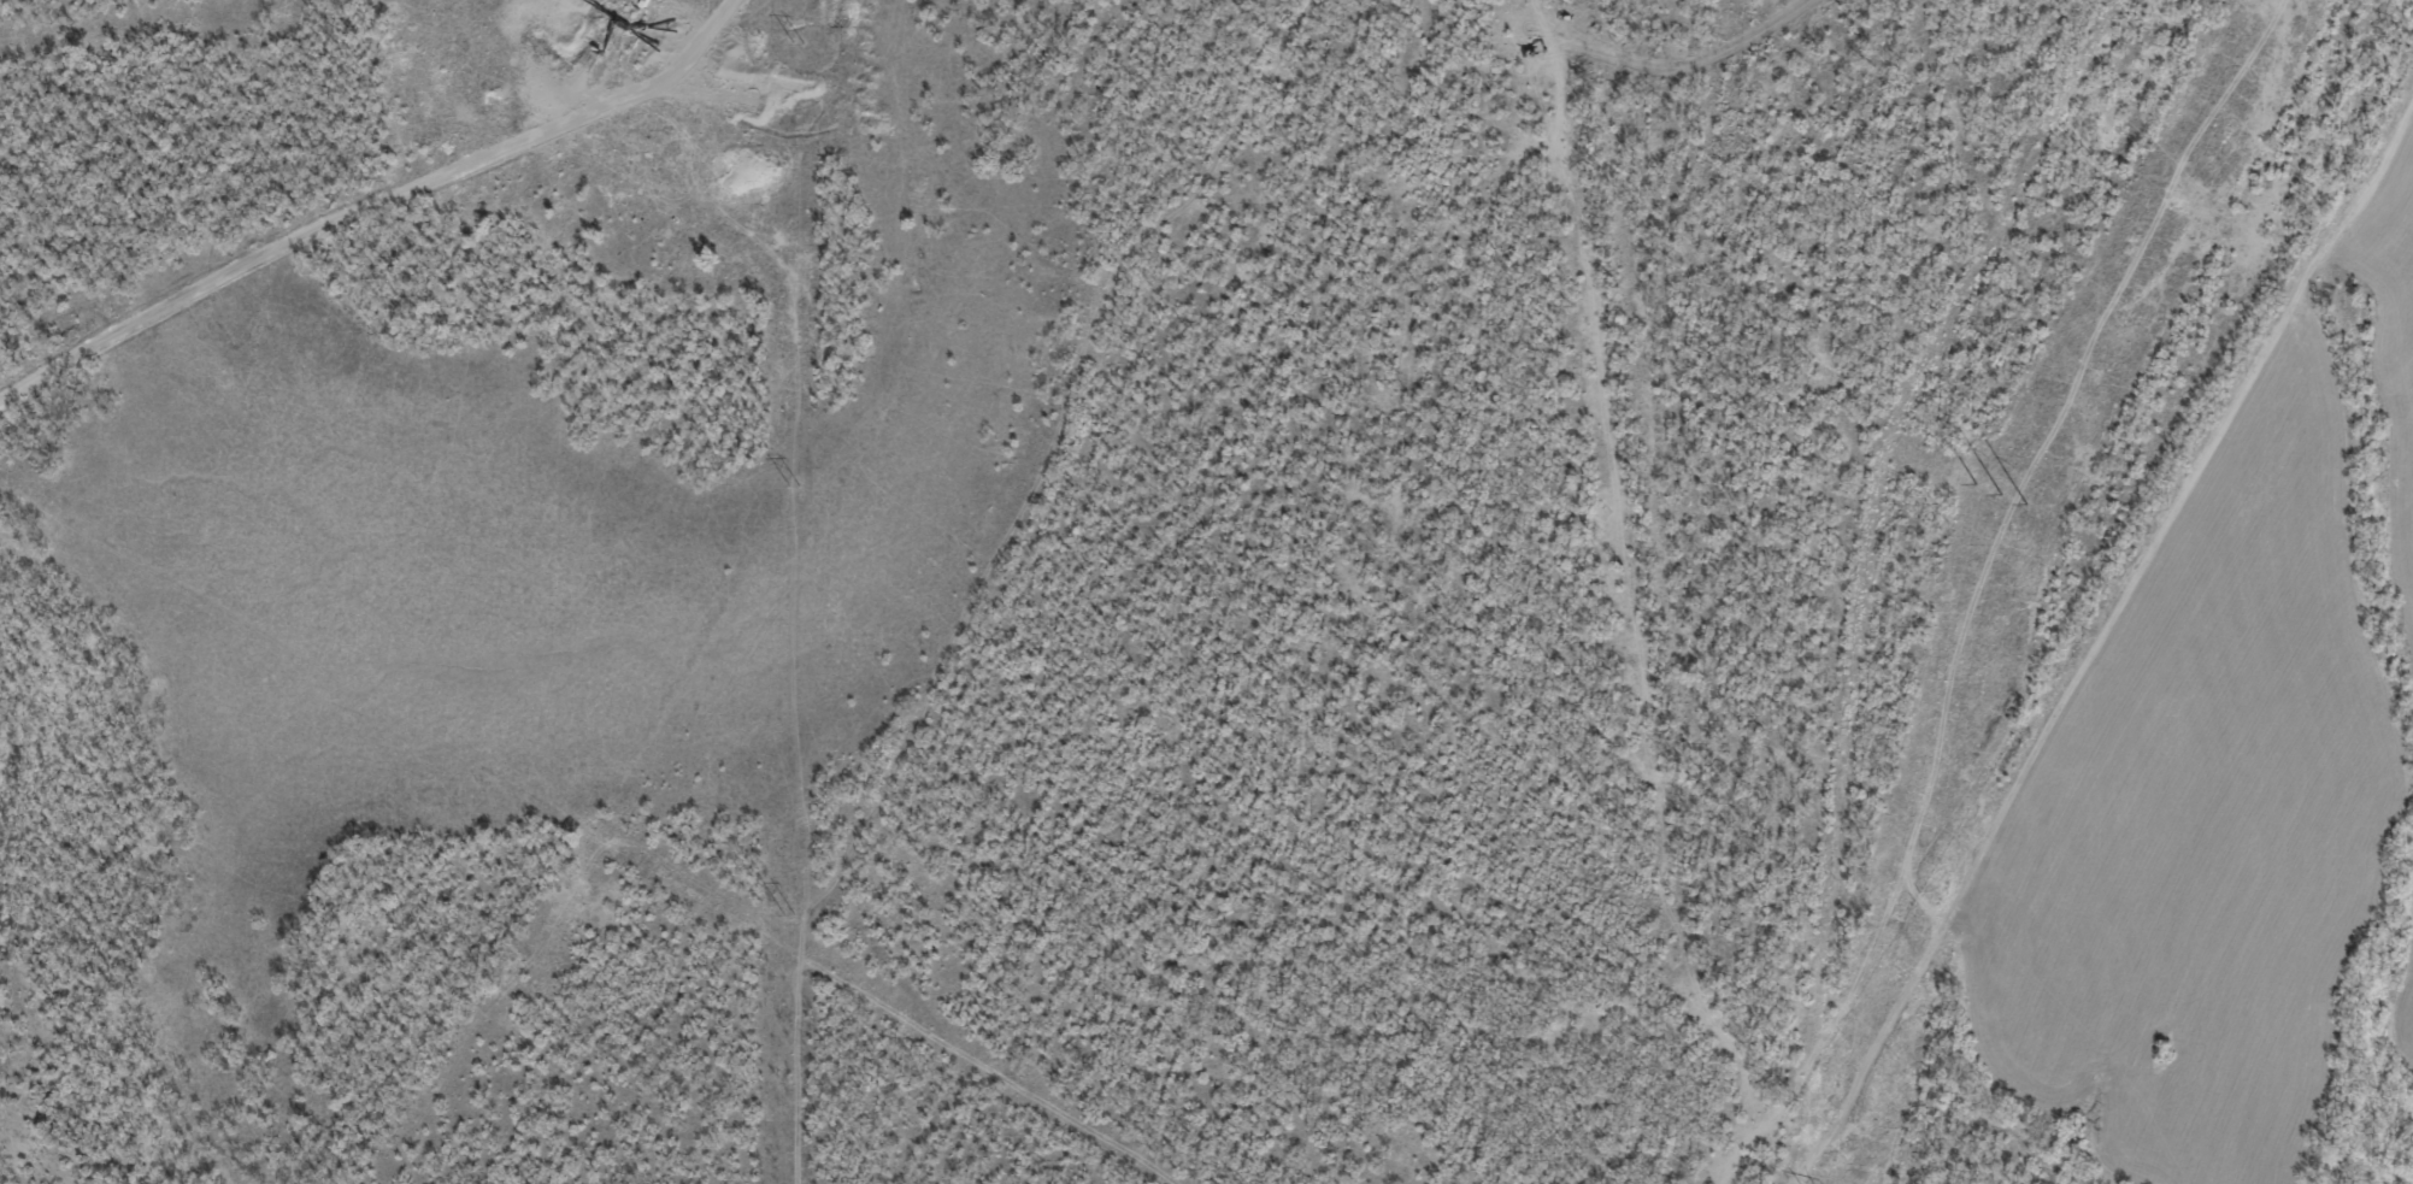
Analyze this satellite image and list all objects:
power tower: (802, 43)
power tower: (795, 485)
power tower: (2006, 496)
road: (2114, 660)
power tower: (789, 914)

